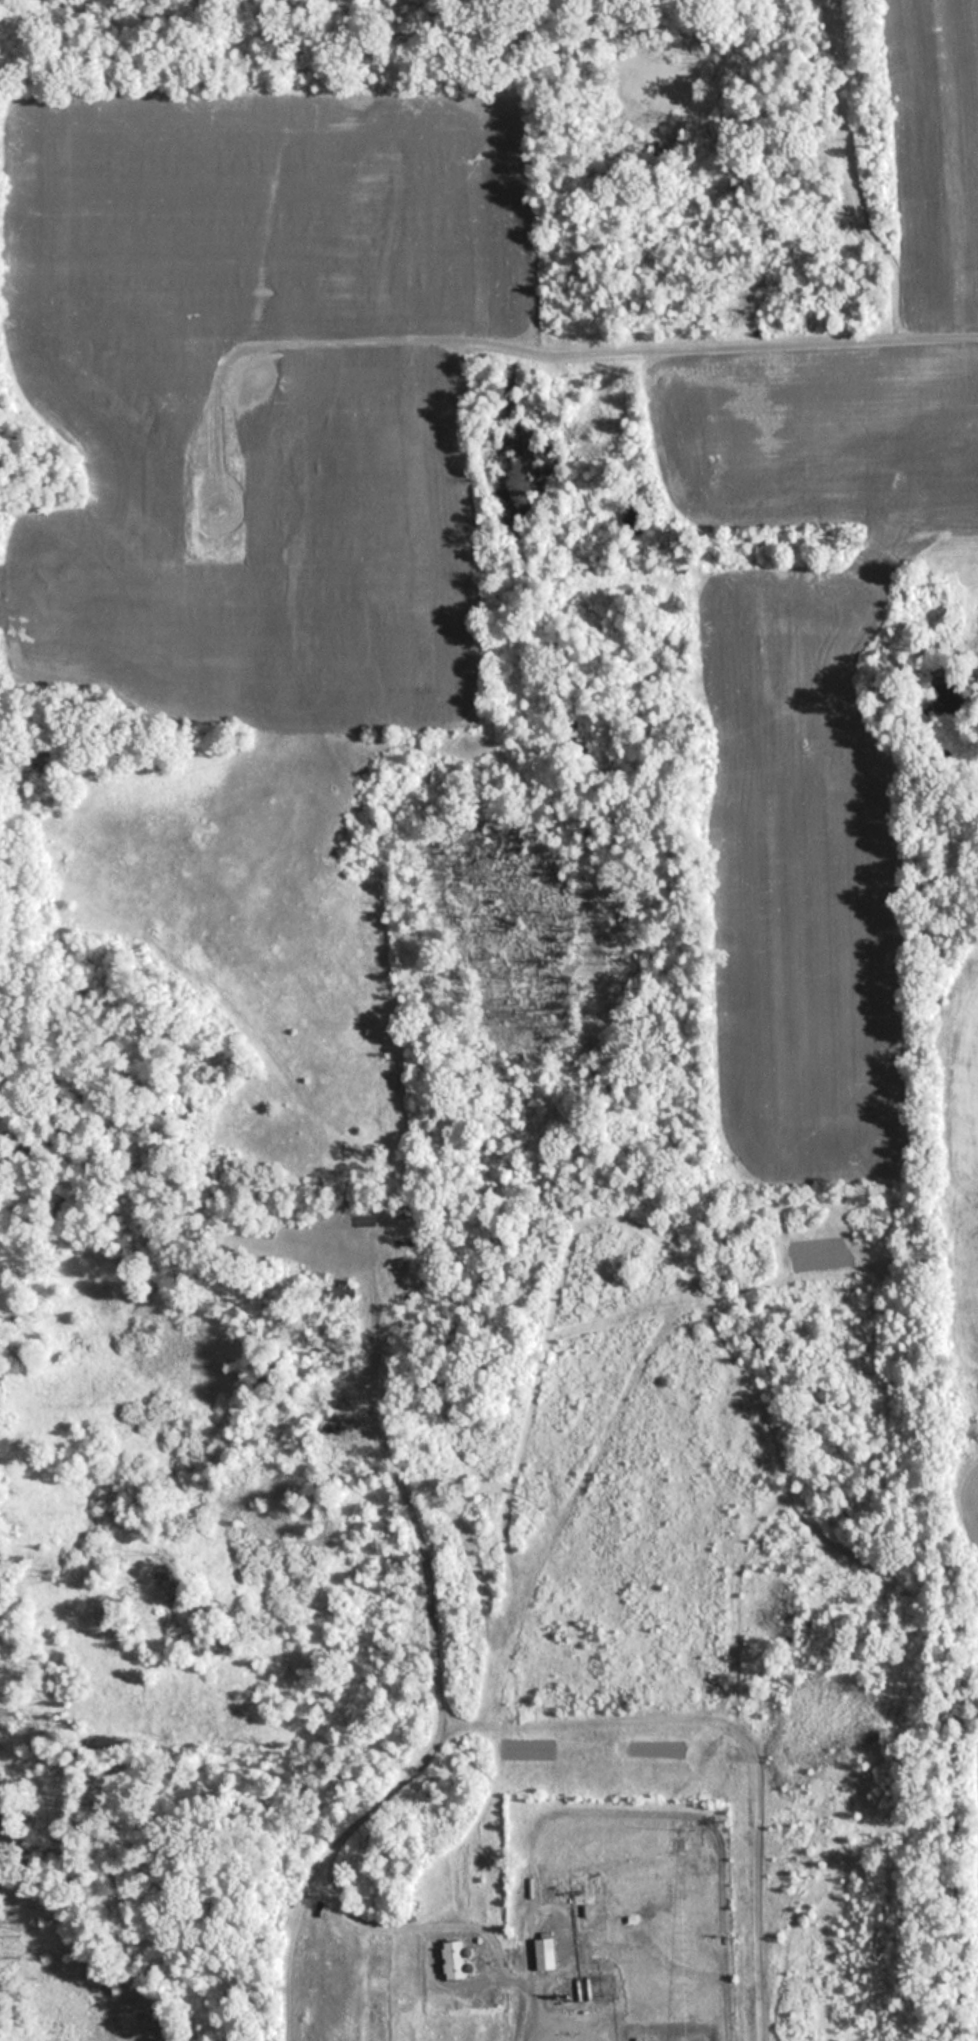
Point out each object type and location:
road: (536, 341)
petroleum well: (333, 1430)
road: (413, 1748)
building: (548, 1952)
building: (458, 1959)

